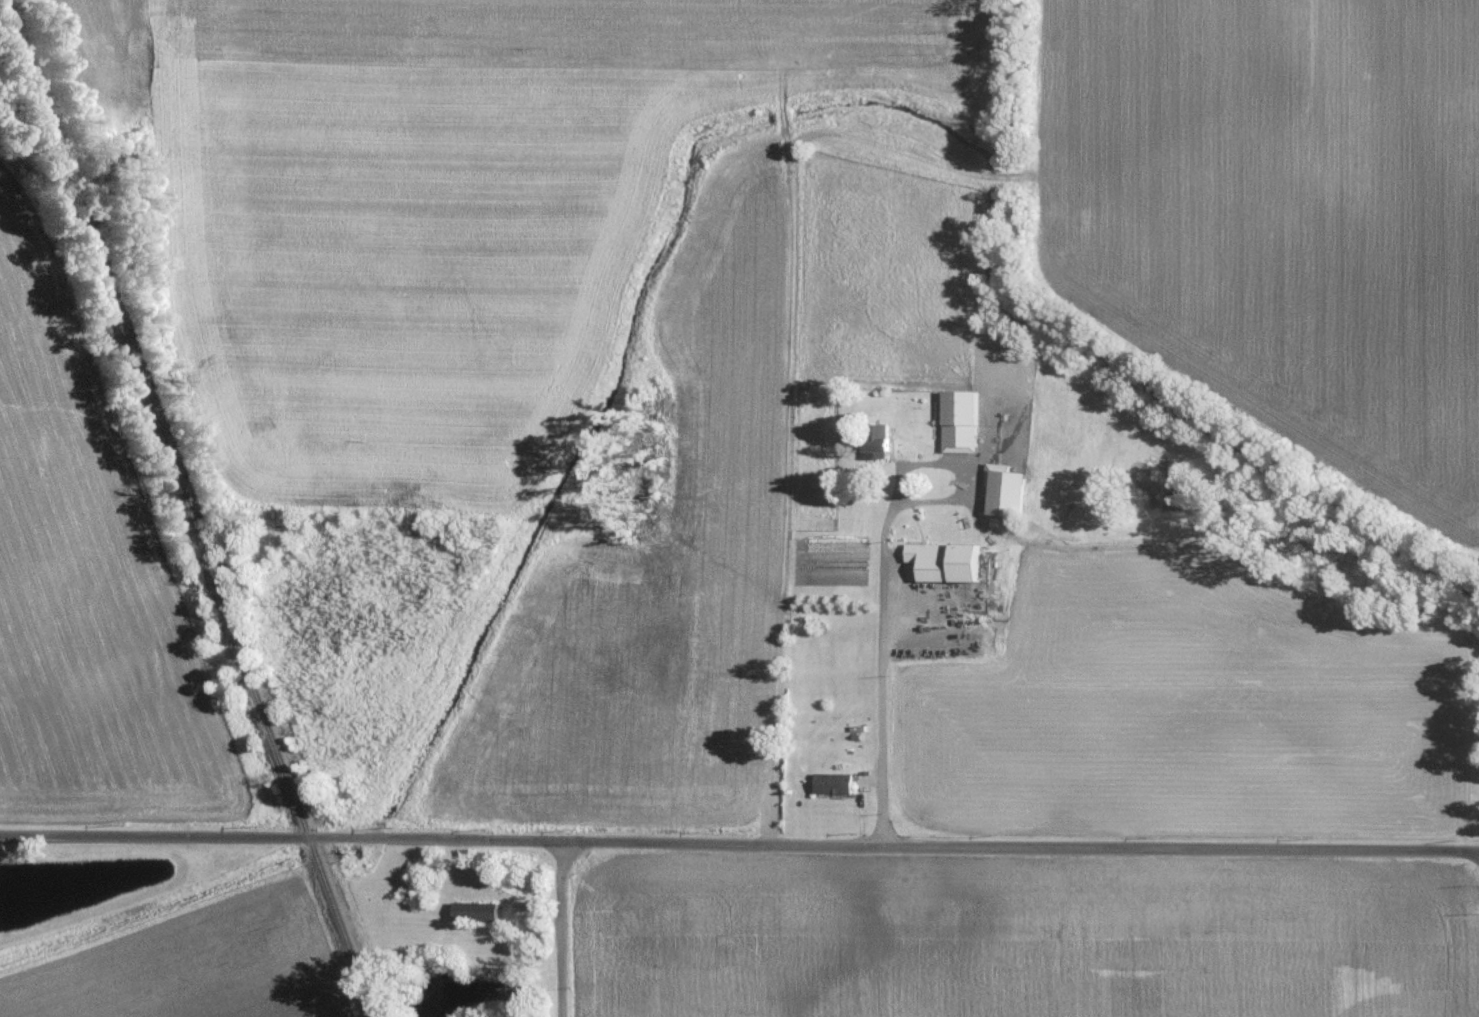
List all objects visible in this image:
road: (910, 470)
building: (1011, 490)
railway: (190, 508)
building: (942, 568)
road: (881, 671)
building: (837, 783)
road: (739, 844)
road: (560, 929)

